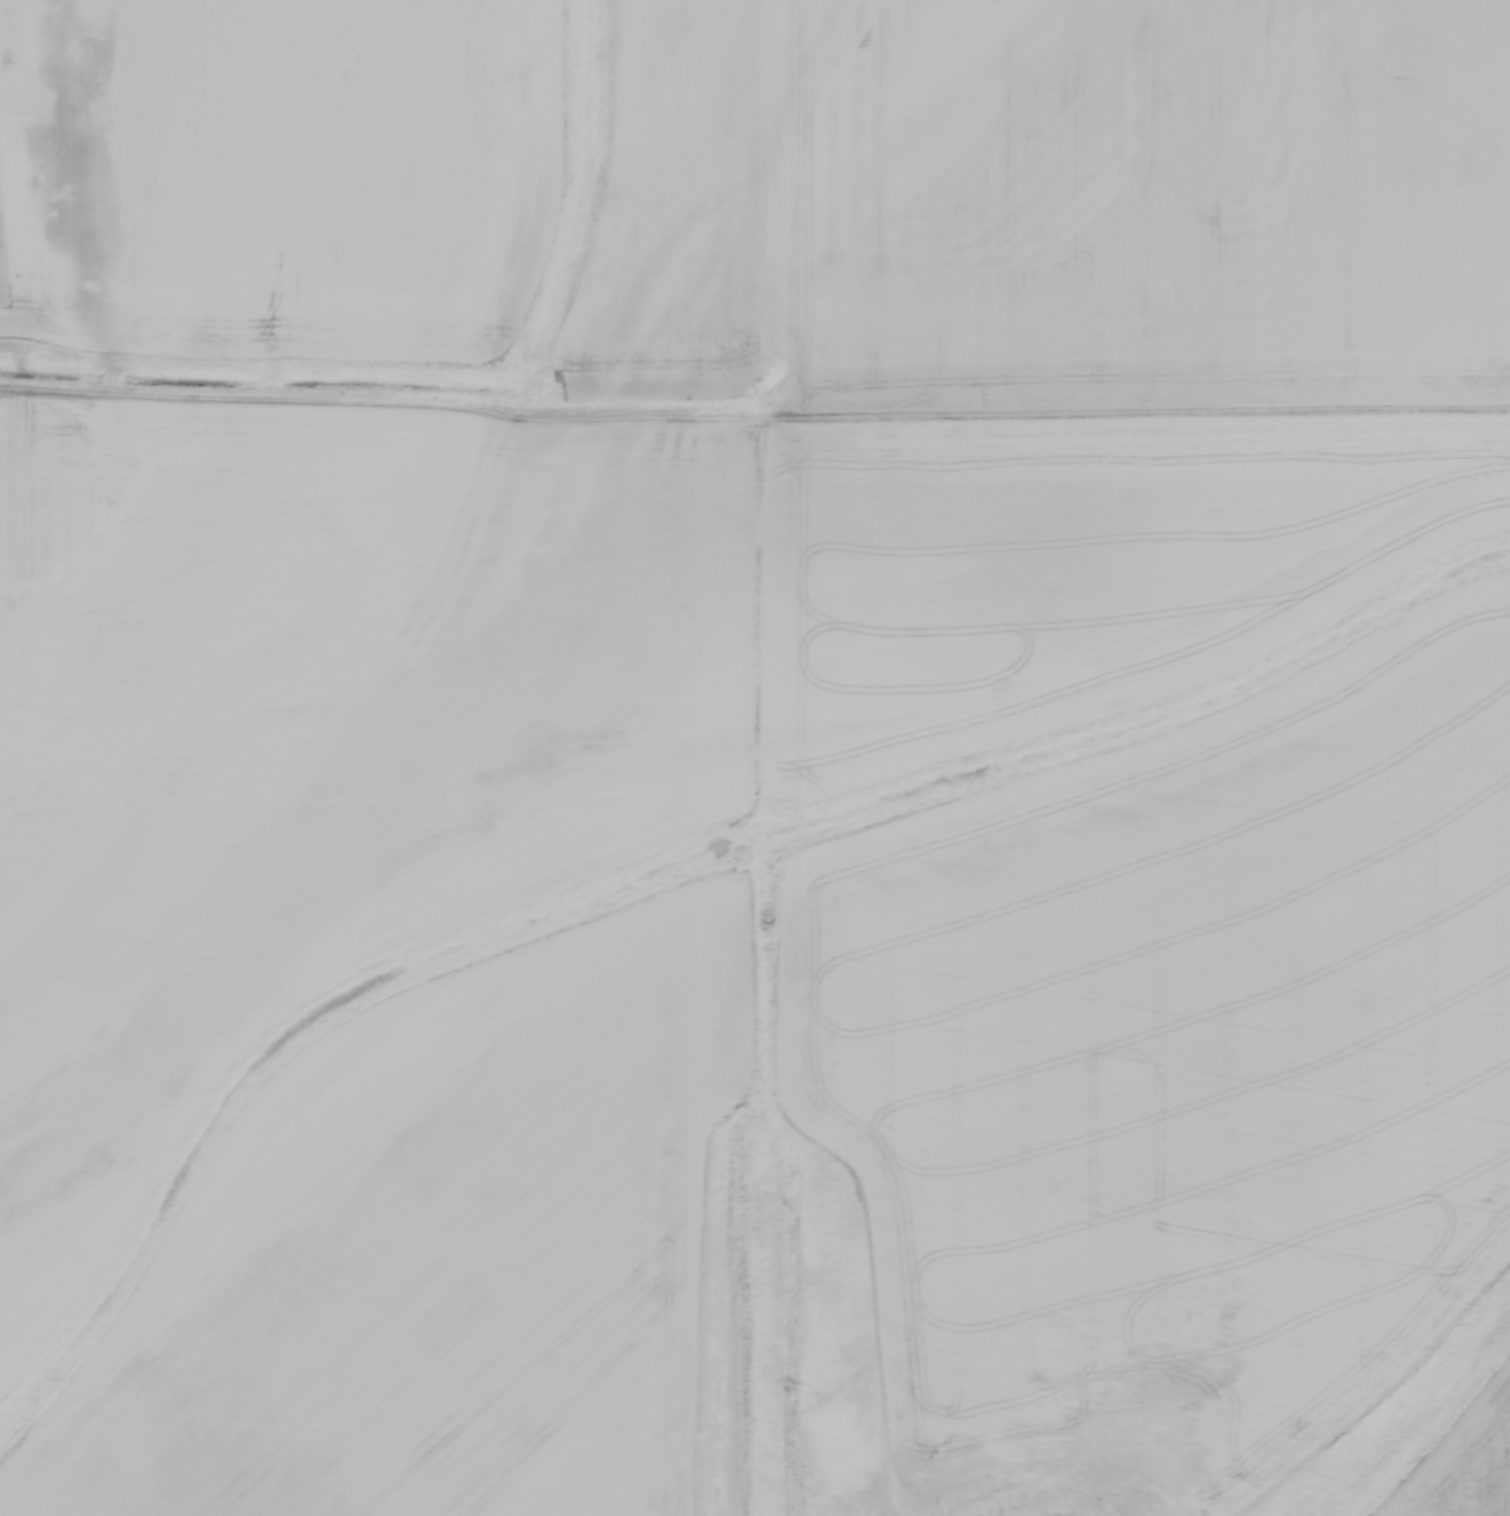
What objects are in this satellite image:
road: (740, 845)

